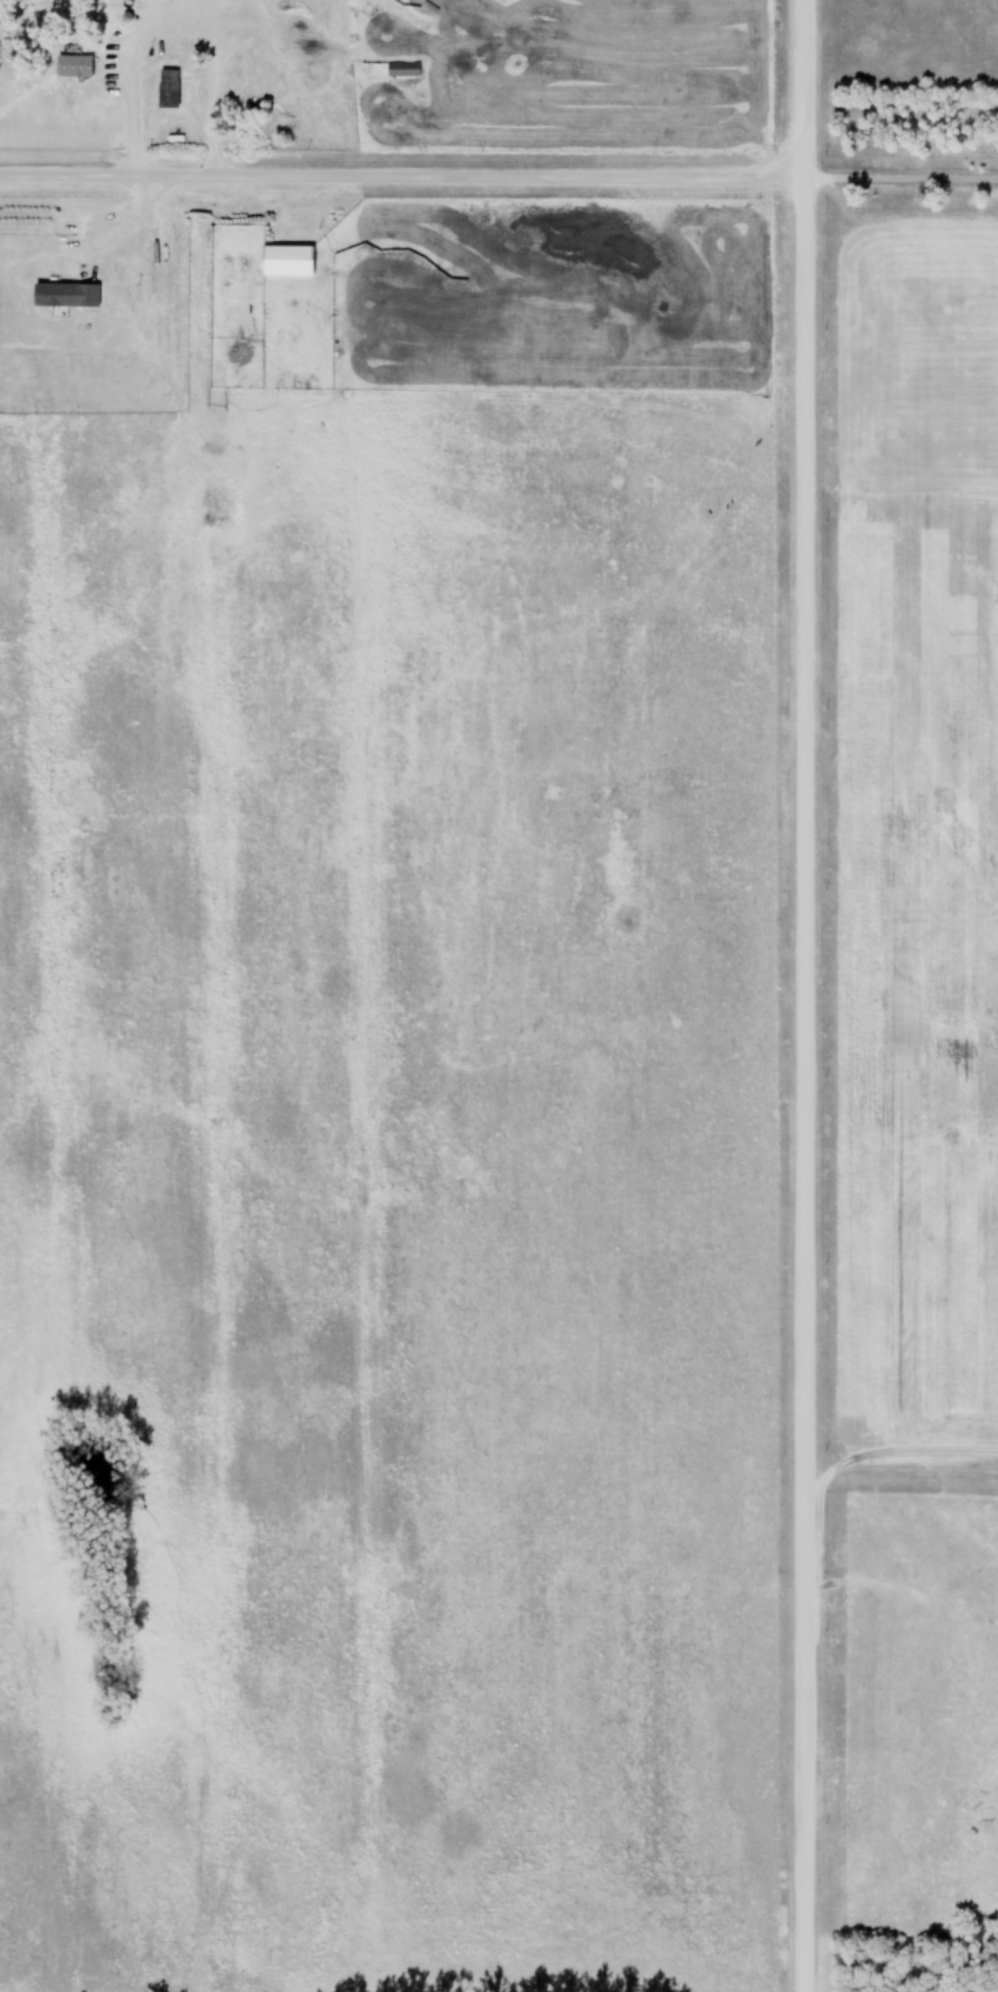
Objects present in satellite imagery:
road: (176, 18)
building: (75, 67)
building: (404, 69)
building: (169, 89)
road: (400, 176)
road: (899, 178)
road: (803, 996)

